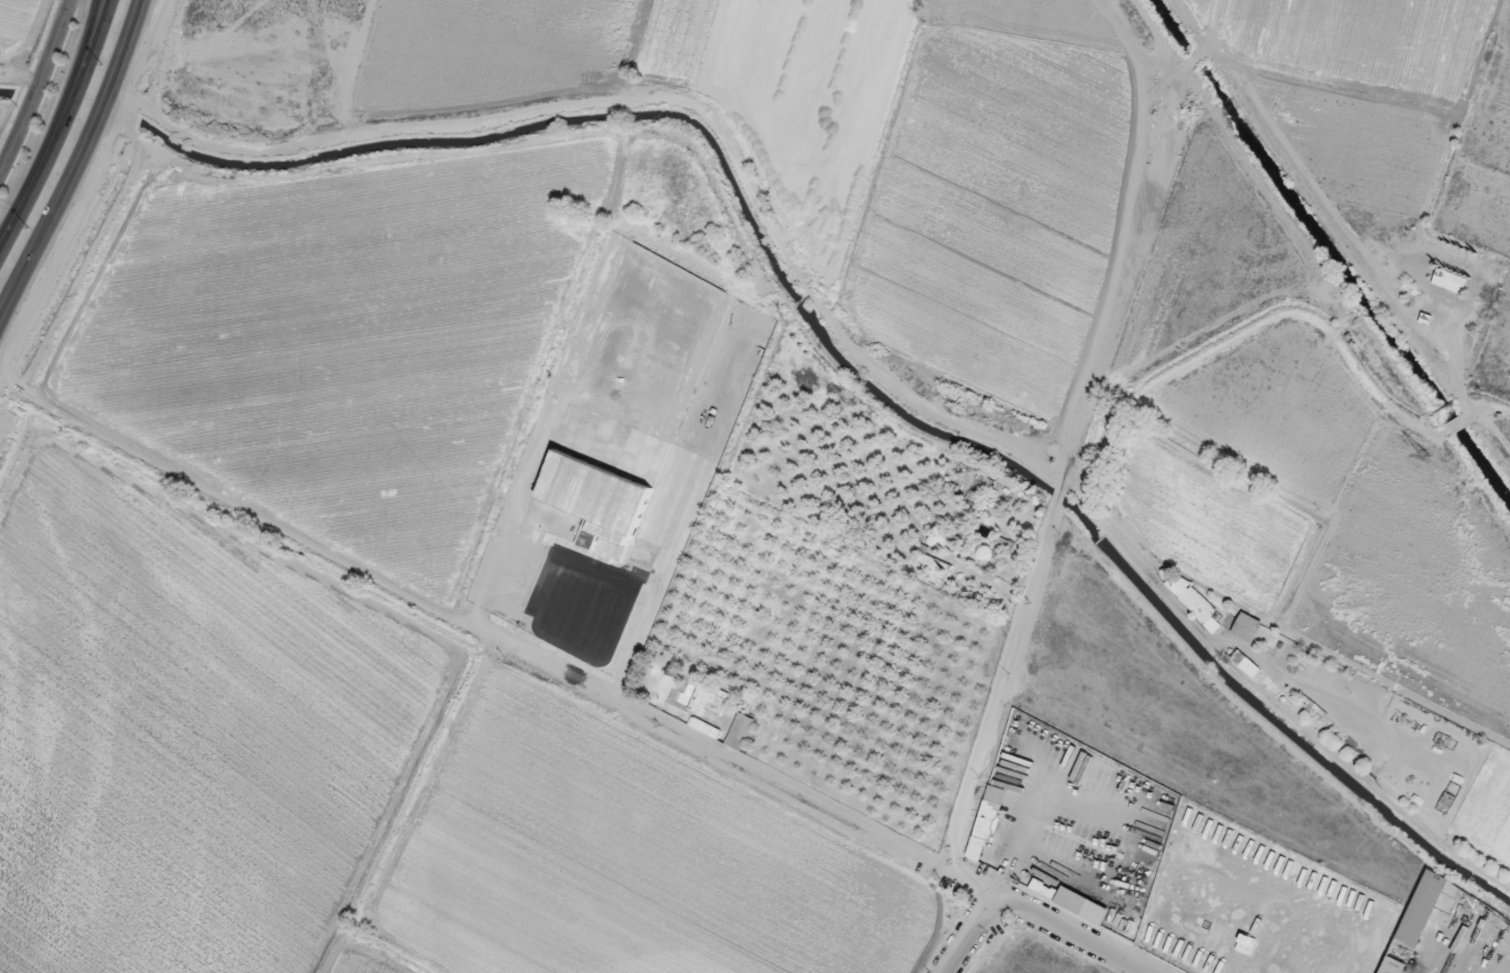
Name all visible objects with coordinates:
power tower: (1423, 463)

